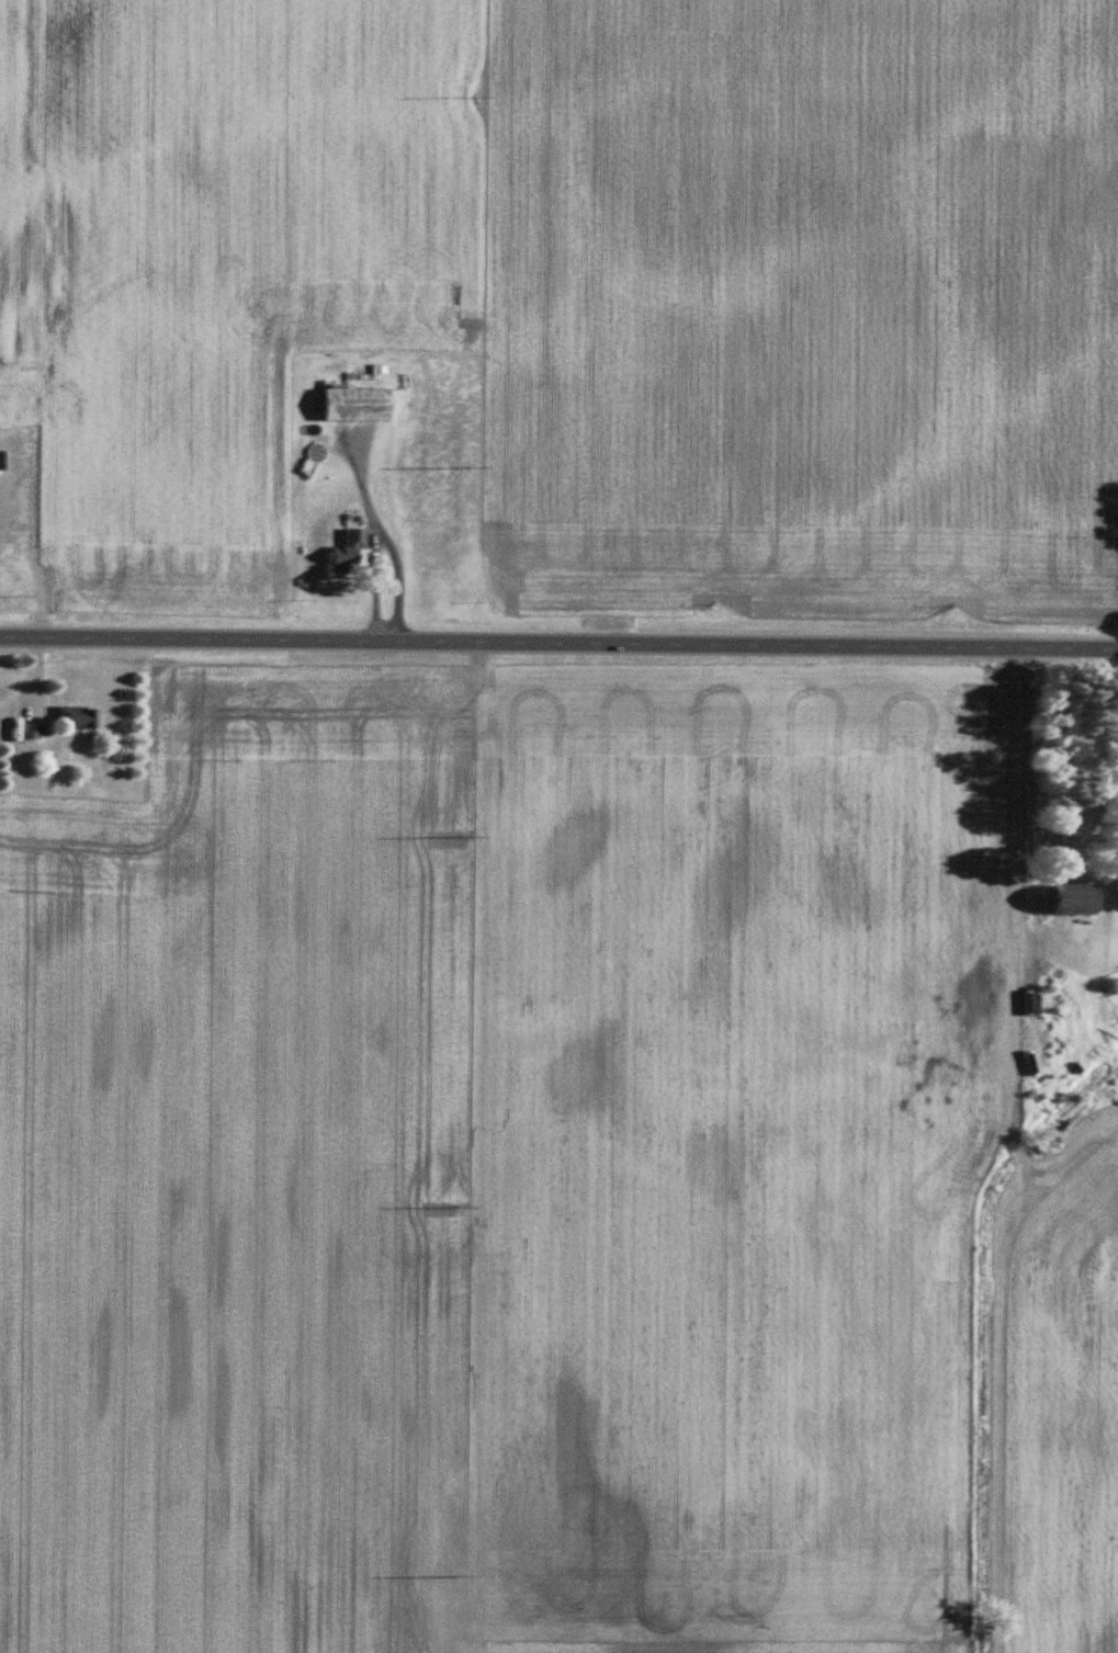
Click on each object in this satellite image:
building: (352, 406)
road: (372, 534)
building: (346, 554)
road: (558, 647)
building: (75, 717)
building: (30, 733)
building: (1064, 901)

